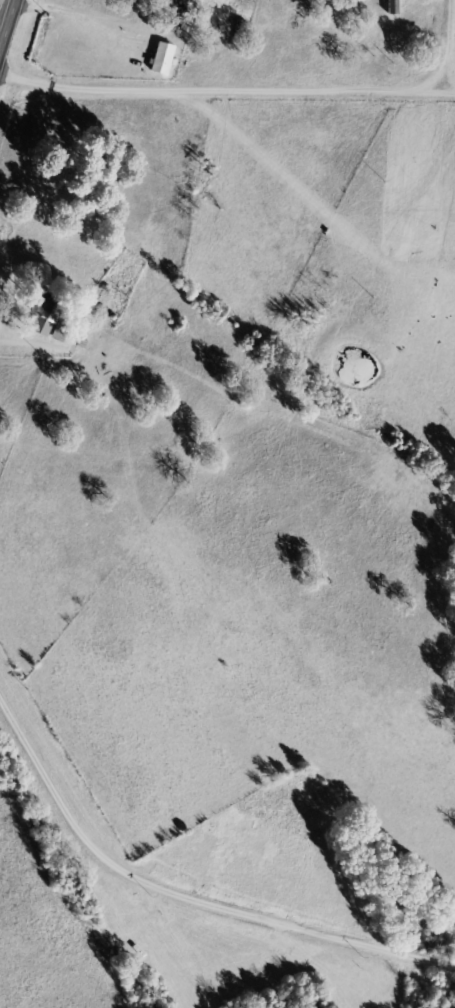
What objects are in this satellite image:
road: (7, 23)
building: (165, 60)
building: (48, 317)
building: (62, 332)
road: (205, 876)

